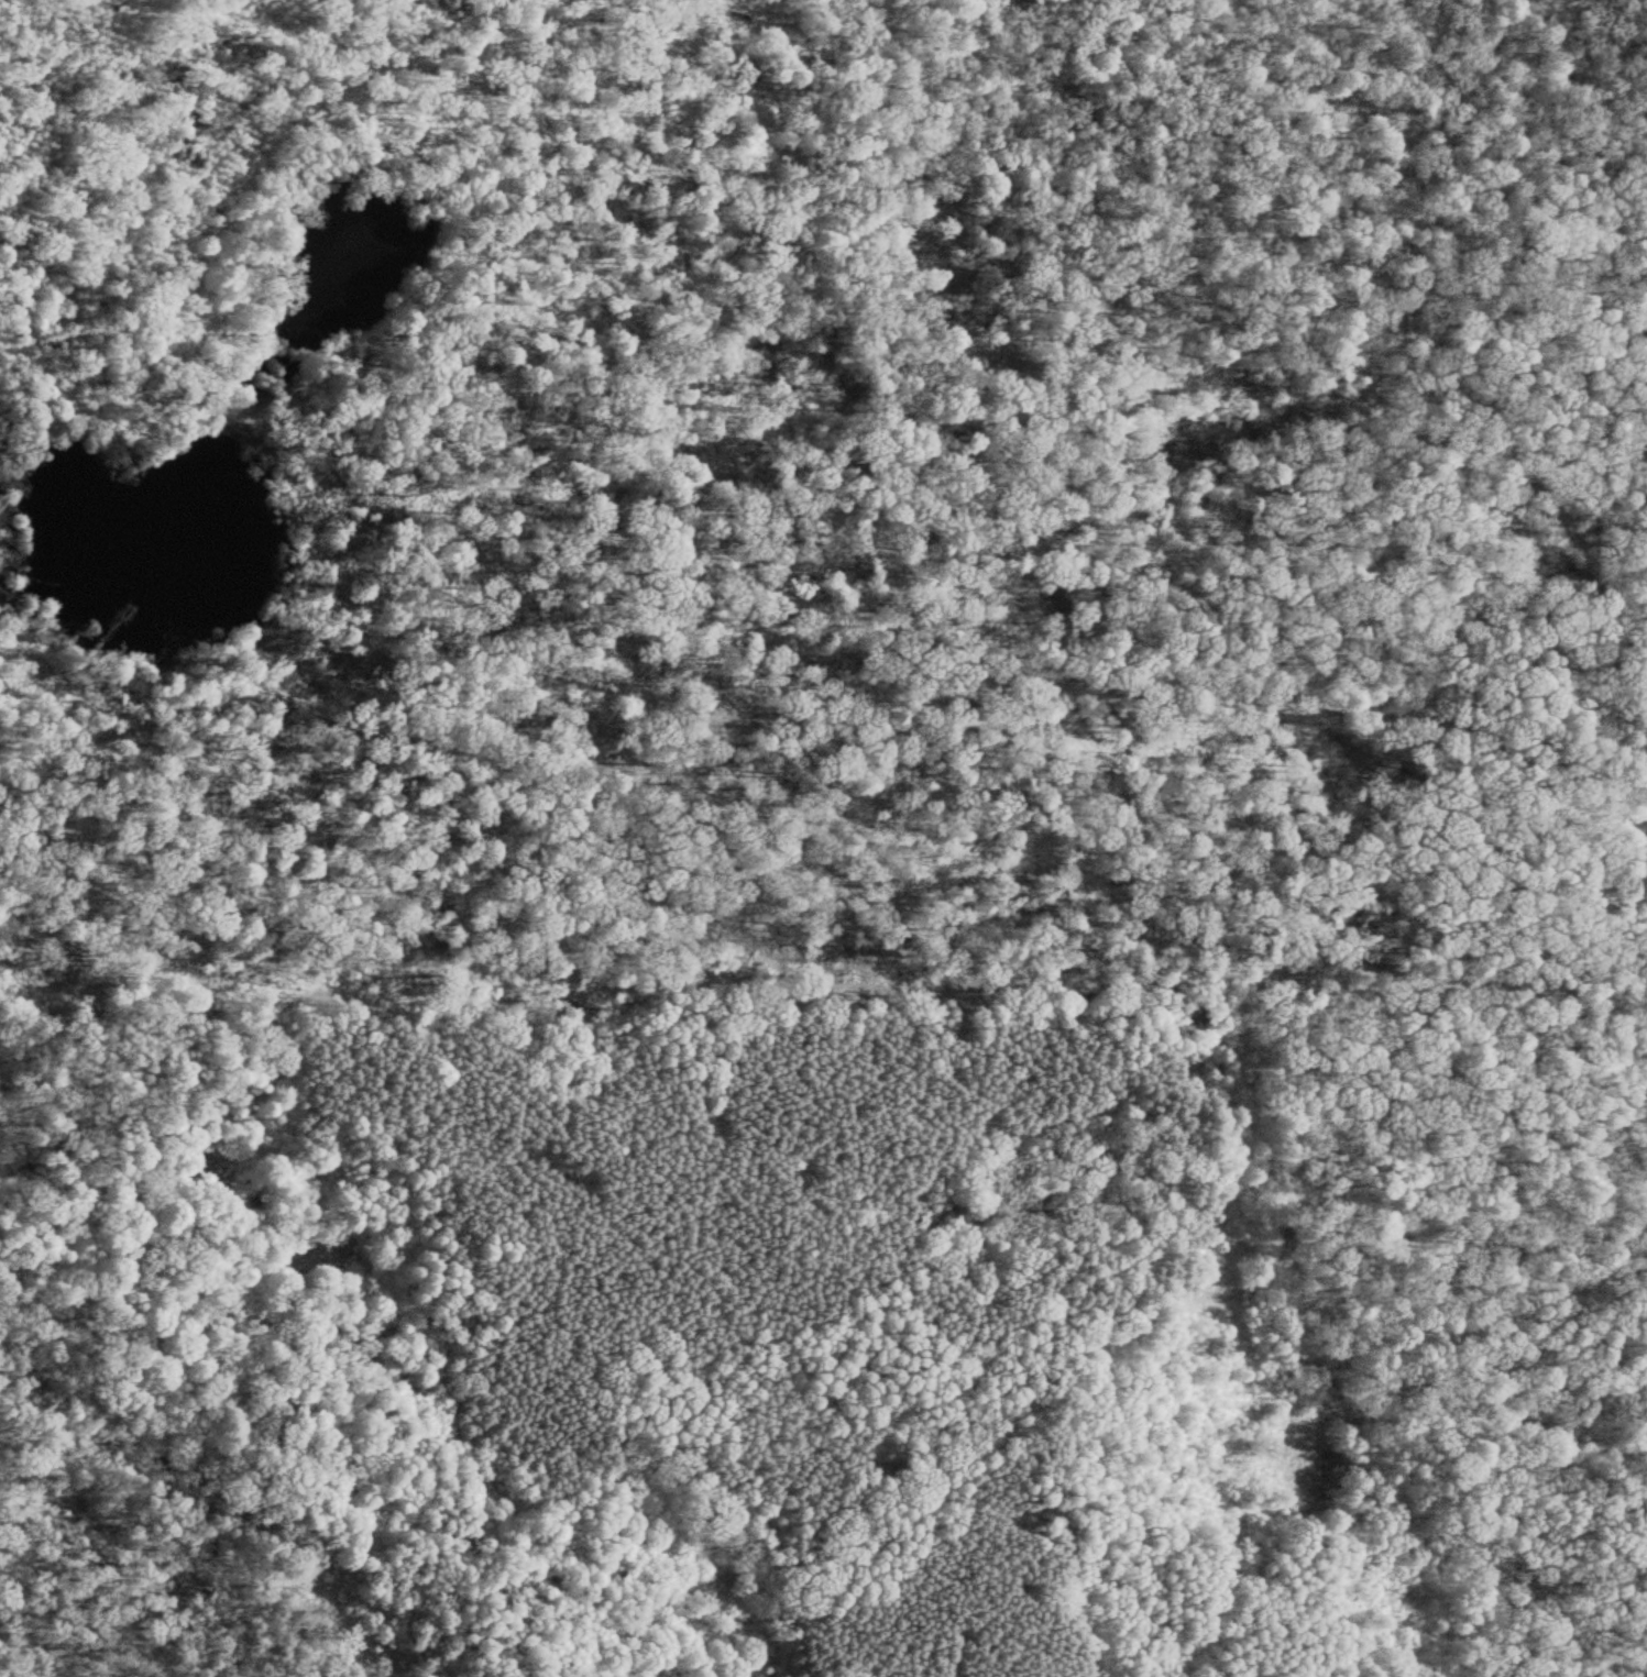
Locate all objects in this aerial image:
road: (823, 964)
road: (200, 1509)

